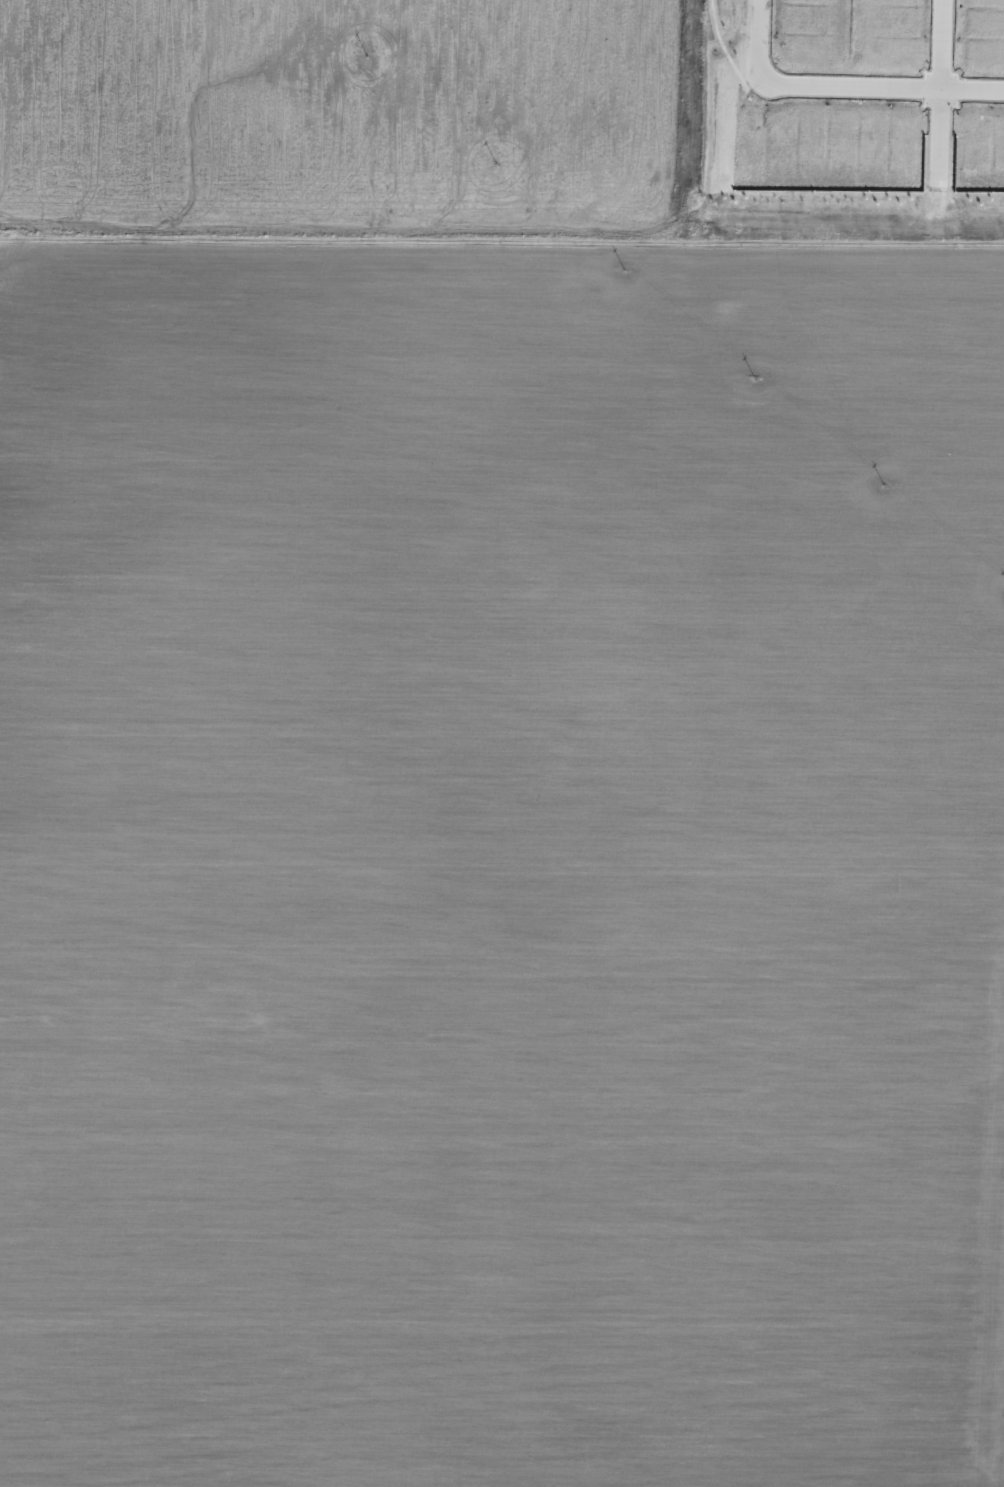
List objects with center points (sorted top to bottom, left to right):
road: (760, 42)
road: (885, 88)
road: (940, 94)

